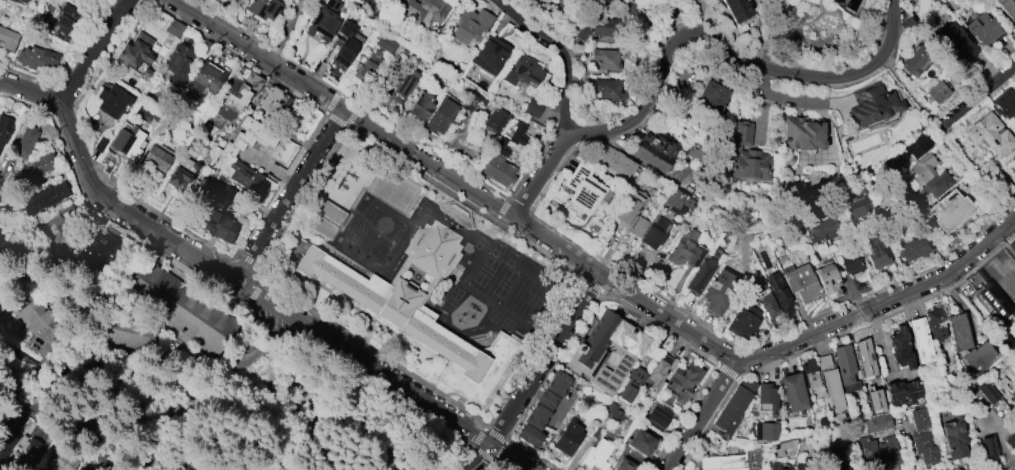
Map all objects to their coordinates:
building: (19, 1)
building: (641, 1)
building: (1008, 7)
building: (265, 8)
building: (421, 9)
building: (630, 9)
building: (738, 9)
road: (701, 16)
building: (324, 20)
building: (68, 22)
building: (470, 25)
building: (1013, 27)
building: (984, 28)
building: (174, 29)
road: (290, 30)
building: (582, 30)
road: (687, 34)
building: (8, 39)
building: (349, 40)
building: (957, 41)
road: (564, 48)
road: (93, 51)
building: (135, 51)
building: (490, 54)
building: (37, 57)
building: (180, 58)
building: (606, 58)
building: (916, 61)
building: (367, 66)
building: (524, 70)
building: (206, 78)
building: (405, 83)
building: (609, 89)
building: (937, 92)
road: (982, 92)
building: (238, 94)
building: (713, 94)
building: (112, 100)
building: (272, 100)
building: (473, 100)
building: (1005, 103)
building: (874, 104)
building: (421, 106)
building: (533, 108)
building: (442, 115)
building: (495, 119)
building: (5, 128)
road: (349, 129)
building: (518, 133)
building: (803, 134)
building: (990, 134)
building: (248, 135)
road: (387, 136)
building: (26, 141)
building: (127, 142)
building: (501, 147)
building: (655, 151)
building: (908, 152)
building: (747, 155)
building: (158, 157)
building: (615, 161)
building: (39, 167)
building: (1013, 167)
building: (923, 168)
building: (499, 170)
building: (182, 173)
building: (244, 176)
building: (1001, 183)
building: (938, 184)
road: (288, 193)
building: (582, 193)
building: (904, 193)
building: (216, 195)
building: (46, 197)
building: (675, 200)
building: (855, 203)
building: (630, 209)
building: (951, 210)
building: (62, 223)
building: (220, 226)
building: (639, 227)
building: (822, 230)
building: (654, 233)
road: (1010, 234)
building: (100, 248)
building: (914, 248)
road: (238, 249)
building: (685, 249)
building: (876, 250)
road: (250, 261)
building: (851, 264)
road: (216, 267)
road: (1010, 272)
road: (227, 273)
building: (701, 275)
parking lot: (1000, 275)
building: (828, 277)
building: (802, 282)
building: (756, 283)
road: (592, 284)
road: (217, 286)
road: (254, 291)
building: (719, 291)
road: (612, 293)
building: (779, 294)
road: (853, 299)
building: (995, 302)
building: (181, 306)
building: (768, 306)
building: (420, 308)
building: (35, 316)
building: (743, 321)
building: (935, 321)
building: (958, 330)
road: (810, 336)
road: (835, 339)
building: (920, 339)
building: (900, 346)
building: (604, 350)
building: (976, 355)
building: (865, 358)
road: (545, 359)
building: (846, 368)
road: (726, 371)
building: (656, 372)
building: (810, 374)
building: (681, 380)
building: (556, 382)
building: (830, 383)
building: (630, 386)
building: (986, 391)
building: (765, 392)
building: (795, 393)
building: (908, 395)
building: (1013, 397)
building: (546, 399)
building: (876, 401)
building: (733, 404)
building: (614, 411)
park: (266, 413)
building: (535, 415)
road: (704, 415)
road: (68, 416)
building: (661, 418)
building: (916, 419)
building: (884, 424)
building: (767, 430)
road: (494, 433)
building: (528, 433)
road: (477, 436)
building: (571, 437)
building: (953, 438)
building: (1010, 438)
building: (918, 440)
building: (640, 441)
building: (17, 446)
building: (785, 446)
building: (986, 447)
building: (866, 449)
road: (500, 450)
building: (888, 451)
building: (595, 453)
road: (483, 454)
building: (930, 455)
road: (509, 457)
road: (479, 458)
building: (732, 461)
building: (835, 461)
road: (503, 463)
building: (626, 464)
road: (488, 465)
building: (778, 465)
road: (1010, 466)
building: (802, 467)

